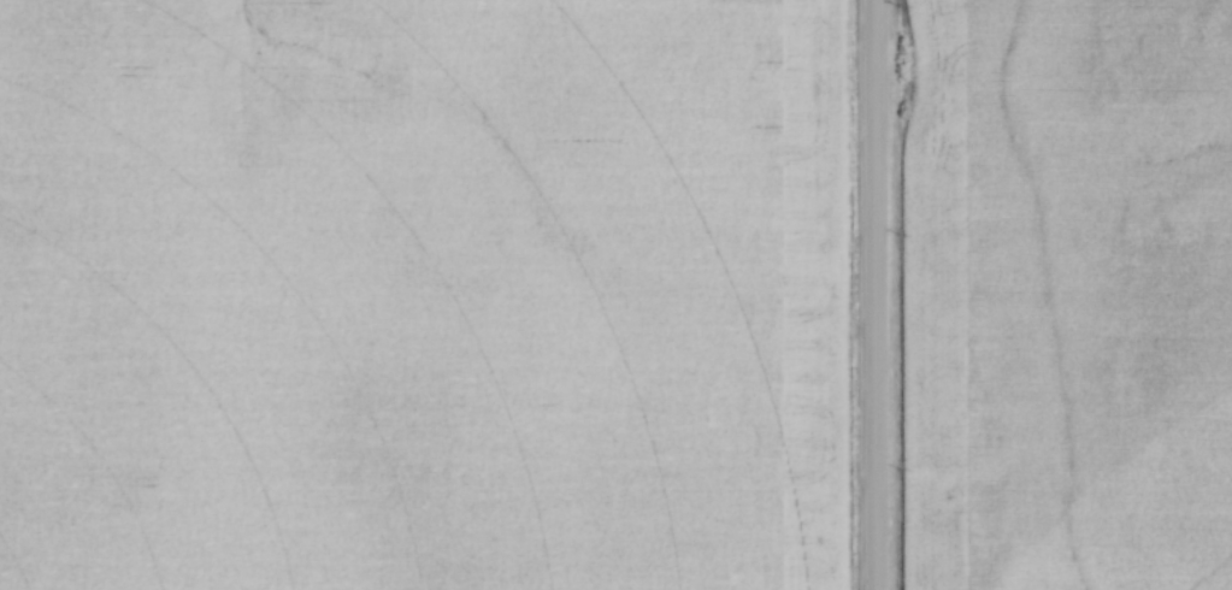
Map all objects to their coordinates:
road: (872, 295)

